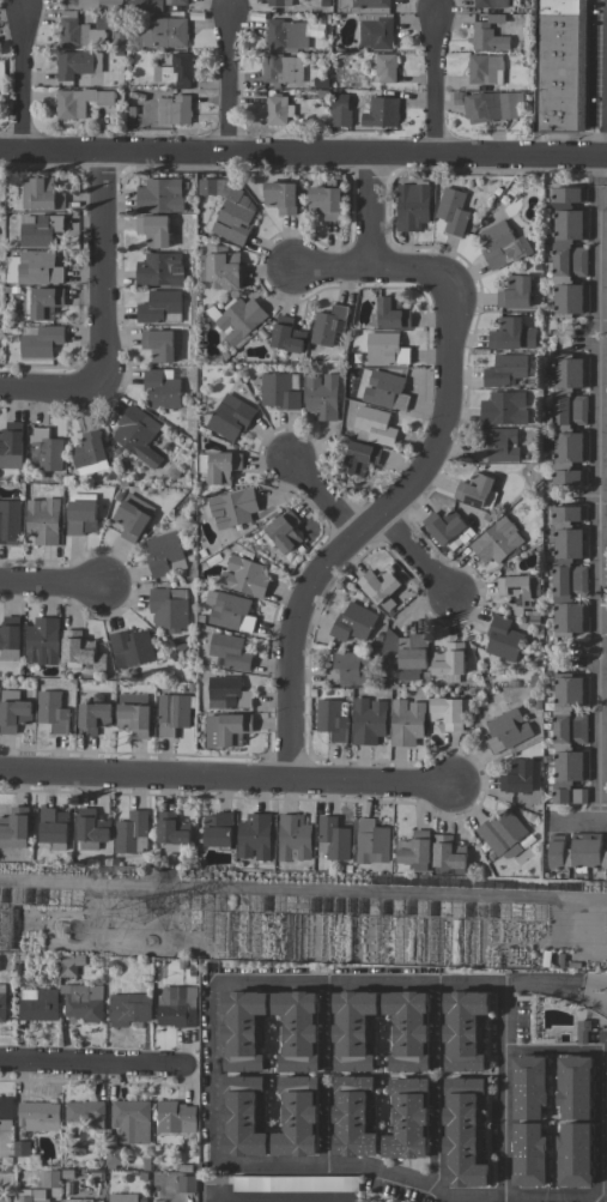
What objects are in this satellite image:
building: (278, 2)
building: (95, 4)
building: (175, 4)
building: (490, 4)
building: (150, 5)
building: (372, 22)
building: (72, 30)
building: (160, 34)
building: (285, 35)
building: (487, 35)
building: (120, 36)
building: (72, 64)
building: (560, 66)
building: (384, 67)
building: (280, 70)
building: (484, 70)
building: (175, 71)
road: (436, 81)
building: (318, 83)
road: (224, 84)
road: (17, 87)
building: (103, 98)
building: (72, 102)
building: (509, 102)
building: (478, 105)
building: (277, 109)
building: (172, 110)
building: (339, 110)
building: (380, 111)
road: (8, 153)
road: (311, 156)
building: (207, 186)
building: (41, 194)
building: (159, 195)
building: (280, 197)
building: (324, 201)
building: (411, 206)
building: (451, 211)
building: (231, 215)
building: (606, 224)
building: (40, 230)
building: (153, 230)
building: (502, 244)
building: (569, 252)
building: (223, 267)
road: (328, 267)
building: (32, 268)
road: (98, 270)
building: (158, 270)
building: (516, 294)
building: (606, 298)
building: (42, 302)
building: (159, 307)
building: (389, 313)
building: (237, 320)
building: (327, 325)
building: (510, 334)
building: (285, 337)
building: (40, 340)
building: (159, 344)
building: (382, 350)
building: (504, 369)
building: (606, 373)
road: (49, 383)
building: (160, 388)
building: (384, 389)
building: (279, 391)
building: (320, 395)
building: (503, 409)
building: (229, 417)
building: (569, 418)
building: (372, 425)
building: (136, 435)
building: (11, 445)
building: (496, 445)
building: (606, 447)
building: (44, 448)
building: (89, 453)
road: (430, 454)
building: (357, 457)
building: (218, 466)
building: (473, 489)
road: (597, 491)
road: (321, 494)
building: (229, 509)
building: (80, 517)
building: (130, 517)
building: (42, 520)
building: (8, 521)
building: (447, 527)
building: (281, 532)
building: (496, 540)
building: (163, 554)
road: (415, 555)
building: (567, 570)
building: (243, 576)
road: (48, 582)
building: (378, 586)
building: (517, 591)
building: (166, 609)
building: (227, 610)
building: (352, 622)
building: (10, 638)
building: (502, 639)
building: (41, 640)
building: (129, 647)
building: (79, 651)
building: (229, 652)
building: (403, 654)
building: (448, 662)
building: (348, 669)
building: (606, 691)
building: (226, 693)
building: (12, 711)
building: (51, 711)
building: (448, 712)
building: (171, 713)
building: (133, 715)
building: (92, 717)
building: (330, 719)
building: (368, 720)
building: (406, 721)
building: (225, 730)
building: (505, 730)
building: (606, 730)
building: (569, 738)
building: (606, 771)
road: (226, 772)
building: (520, 777)
building: (606, 791)
road: (577, 823)
building: (13, 827)
building: (53, 827)
building: (91, 828)
building: (218, 829)
building: (171, 830)
building: (130, 833)
building: (500, 833)
building: (253, 836)
building: (293, 838)
building: (332, 839)
building: (371, 845)
building: (414, 851)
building: (576, 851)
building: (447, 854)
road: (316, 890)
power tower: (130, 914)
building: (69, 965)
building: (181, 965)
road: (225, 983)
building: (4, 1001)
building: (84, 1002)
building: (38, 1005)
building: (177, 1007)
building: (128, 1009)
road: (326, 1023)
road: (433, 1026)
building: (241, 1029)
building: (296, 1029)
building: (406, 1029)
building: (462, 1029)
building: (352, 1031)
building: (606, 1043)
building: (606, 1050)
road: (90, 1067)
building: (529, 1087)
building: (575, 1087)
building: (85, 1113)
building: (6, 1115)
building: (38, 1116)
building: (351, 1116)
building: (175, 1117)
building: (241, 1117)
building: (296, 1119)
building: (407, 1119)
building: (132, 1121)
road: (503, 1122)
road: (327, 1123)
building: (606, 1129)
building: (606, 1130)
building: (462, 1132)
road: (433, 1134)
building: (22, 1148)
building: (606, 1148)
building: (77, 1149)
building: (529, 1154)
building: (575, 1154)
building: (114, 1156)
building: (606, 1167)
building: (66, 1174)
building: (49, 1179)
building: (186, 1184)
building: (295, 1184)
road: (602, 1190)
building: (31, 1195)
building: (122, 1197)
building: (5, 1198)
road: (283, 1198)
building: (75, 1200)

